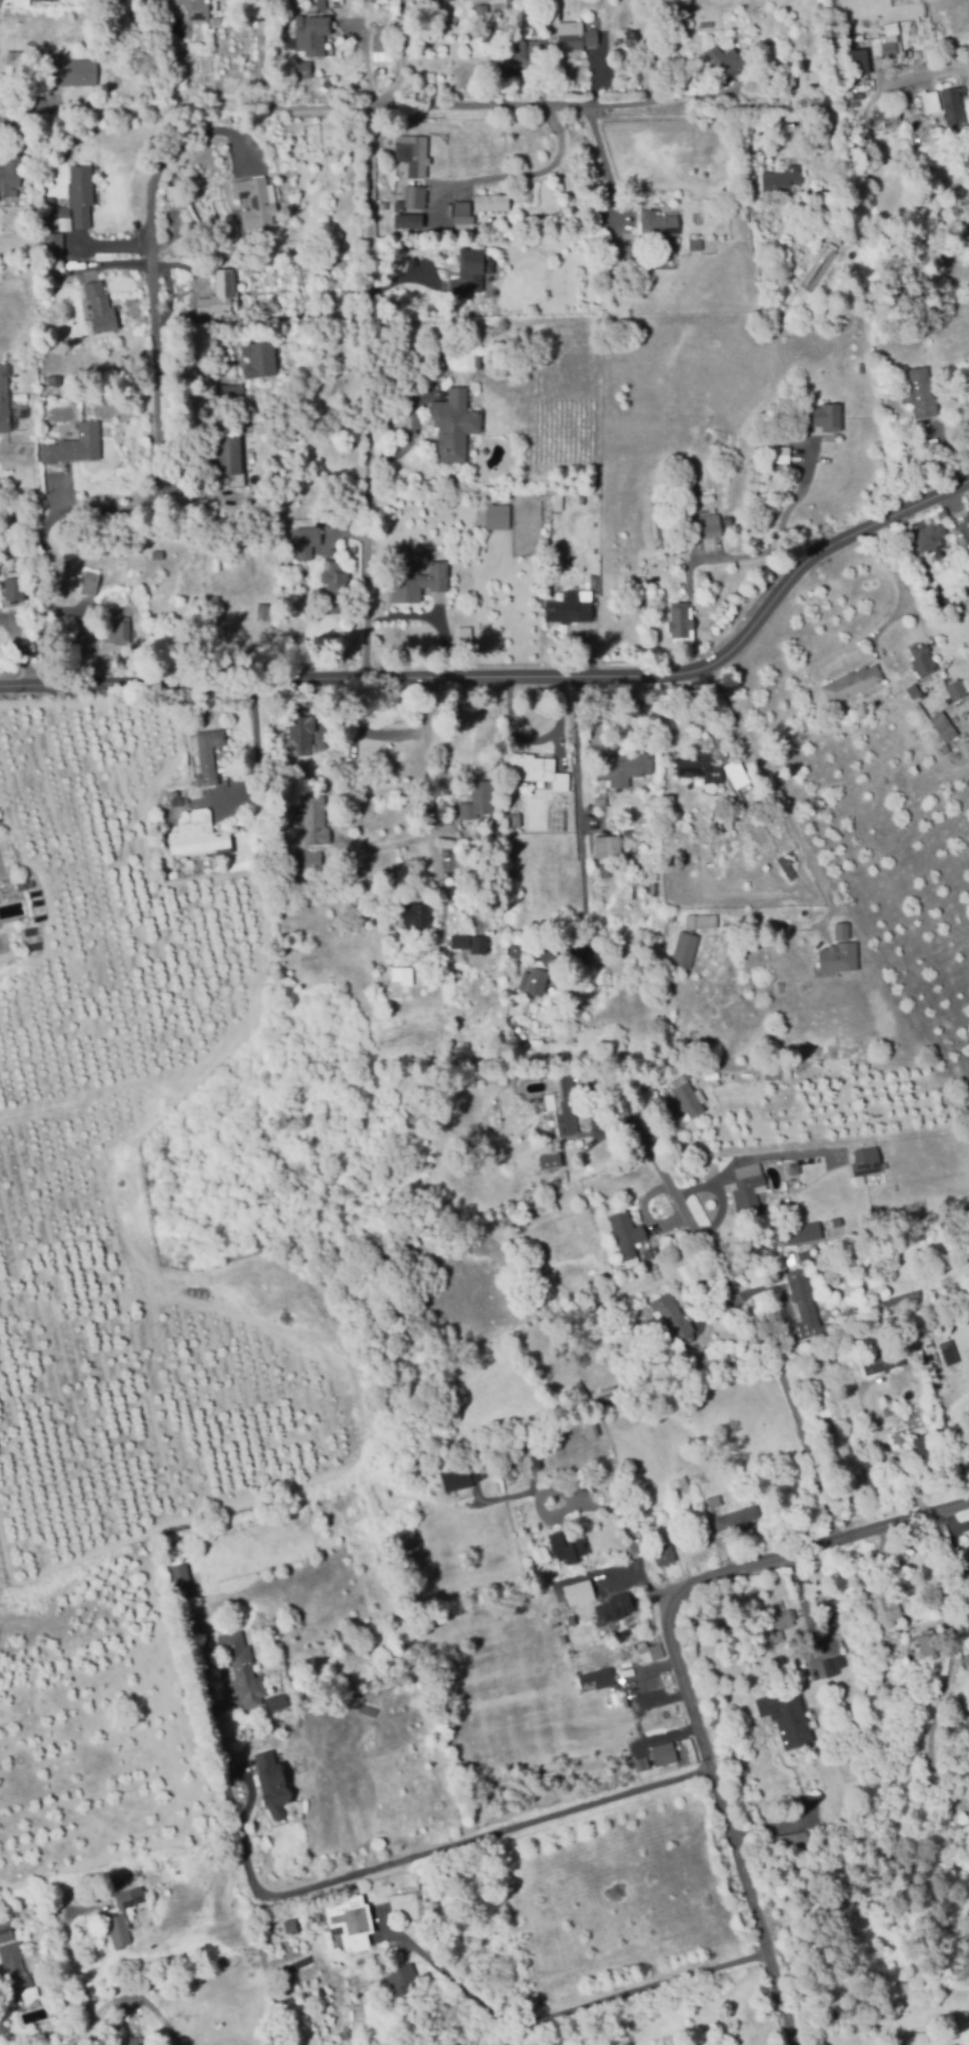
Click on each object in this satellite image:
building: (329, 0)
building: (432, 1)
building: (321, 4)
building: (511, 7)
building: (197, 8)
building: (482, 11)
building: (687, 11)
building: (312, 33)
building: (487, 37)
building: (574, 37)
building: (382, 42)
building: (22, 45)
road: (260, 51)
building: (526, 51)
building: (883, 51)
building: (210, 55)
building: (725, 60)
building: (18, 64)
building: (848, 68)
building: (305, 69)
building: (72, 71)
road: (923, 73)
road: (596, 74)
building: (813, 79)
building: (325, 83)
road: (666, 99)
building: (917, 101)
building: (932, 101)
road: (294, 104)
building: (953, 105)
building: (886, 117)
road: (194, 137)
building: (416, 154)
road: (602, 163)
building: (11, 170)
building: (34, 170)
road: (505, 177)
building: (781, 182)
building: (419, 192)
building: (81, 194)
building: (495, 198)
building: (256, 202)
building: (465, 206)
building: (406, 221)
building: (659, 226)
building: (621, 235)
road: (115, 244)
building: (51, 245)
building: (414, 245)
building: (696, 245)
building: (771, 249)
building: (631, 256)
road: (178, 268)
road: (122, 269)
building: (473, 269)
building: (613, 284)
building: (224, 289)
building: (100, 307)
building: (223, 340)
building: (909, 353)
building: (259, 356)
building: (55, 380)
building: (226, 392)
road: (370, 392)
building: (921, 392)
building: (5, 397)
building: (825, 417)
building: (458, 420)
building: (75, 445)
road: (404, 446)
building: (227, 452)
road: (159, 486)
building: (673, 487)
building: (663, 495)
building: (497, 516)
building: (655, 520)
building: (709, 525)
building: (679, 526)
building: (963, 532)
building: (929, 537)
building: (308, 540)
building: (492, 542)
building: (158, 554)
road: (734, 558)
building: (337, 580)
building: (418, 583)
building: (90, 584)
building: (12, 589)
building: (118, 594)
road: (916, 606)
building: (570, 608)
building: (265, 611)
building: (682, 624)
building: (118, 626)
building: (465, 640)
building: (923, 659)
road: (516, 673)
building: (852, 683)
building: (956, 689)
building: (914, 690)
building: (943, 725)
building: (300, 735)
building: (947, 751)
road: (257, 752)
building: (209, 755)
building: (701, 767)
building: (625, 768)
building: (537, 772)
building: (738, 772)
building: (480, 792)
building: (601, 800)
building: (179, 801)
building: (738, 805)
building: (314, 819)
building: (513, 819)
road: (582, 820)
road: (795, 833)
building: (198, 835)
building: (607, 846)
building: (306, 860)
building: (789, 866)
building: (605, 871)
building: (22, 884)
building: (793, 915)
building: (413, 916)
building: (670, 917)
building: (702, 920)
building: (839, 931)
building: (472, 942)
building: (685, 949)
building: (516, 951)
building: (547, 951)
building: (359, 953)
building: (839, 956)
building: (403, 975)
building: (536, 981)
building: (780, 986)
building: (777, 1072)
building: (688, 1094)
building: (564, 1104)
road: (769, 1155)
building: (551, 1158)
building: (871, 1159)
building: (797, 1166)
building: (747, 1186)
road: (719, 1194)
building: (548, 1206)
building: (510, 1219)
building: (810, 1230)
building: (627, 1235)
building: (683, 1254)
building: (652, 1266)
building: (814, 1273)
building: (434, 1294)
building: (903, 1299)
building: (806, 1305)
building: (881, 1308)
building: (852, 1313)
building: (674, 1317)
road: (758, 1324)
building: (944, 1337)
building: (928, 1343)
building: (946, 1352)
building: (701, 1355)
building: (883, 1361)
building: (580, 1391)
building: (609, 1394)
building: (882, 1395)
building: (591, 1425)
building: (895, 1432)
building: (927, 1450)
road: (886, 1451)
building: (509, 1471)
building: (458, 1479)
building: (679, 1485)
road: (569, 1495)
building: (715, 1501)
building: (737, 1517)
building: (567, 1547)
building: (665, 1555)
building: (968, 1563)
building: (183, 1581)
road: (651, 1589)
building: (589, 1591)
building: (887, 1604)
building: (614, 1608)
building: (578, 1615)
building: (565, 1617)
building: (830, 1619)
building: (781, 1622)
building: (602, 1631)
building: (562, 1637)
building: (930, 1644)
building: (648, 1646)
building: (833, 1664)
building: (245, 1671)
building: (597, 1677)
road: (686, 1677)
building: (809, 1718)
building: (788, 1719)
building: (639, 1745)
building: (665, 1753)
building: (643, 1762)
building: (744, 1769)
building: (274, 1785)
building: (794, 1840)
road: (350, 1872)
building: (135, 1873)
building: (55, 1902)
building: (428, 1903)
building: (0, 1913)
building: (123, 1915)
building: (351, 1920)
building: (290, 1924)
building: (6, 1930)
building: (15, 1968)
road: (75, 1968)
building: (402, 1974)
building: (529, 1984)
building: (535, 2000)
road: (568, 2010)
building: (131, 2041)
road: (65, 2042)

